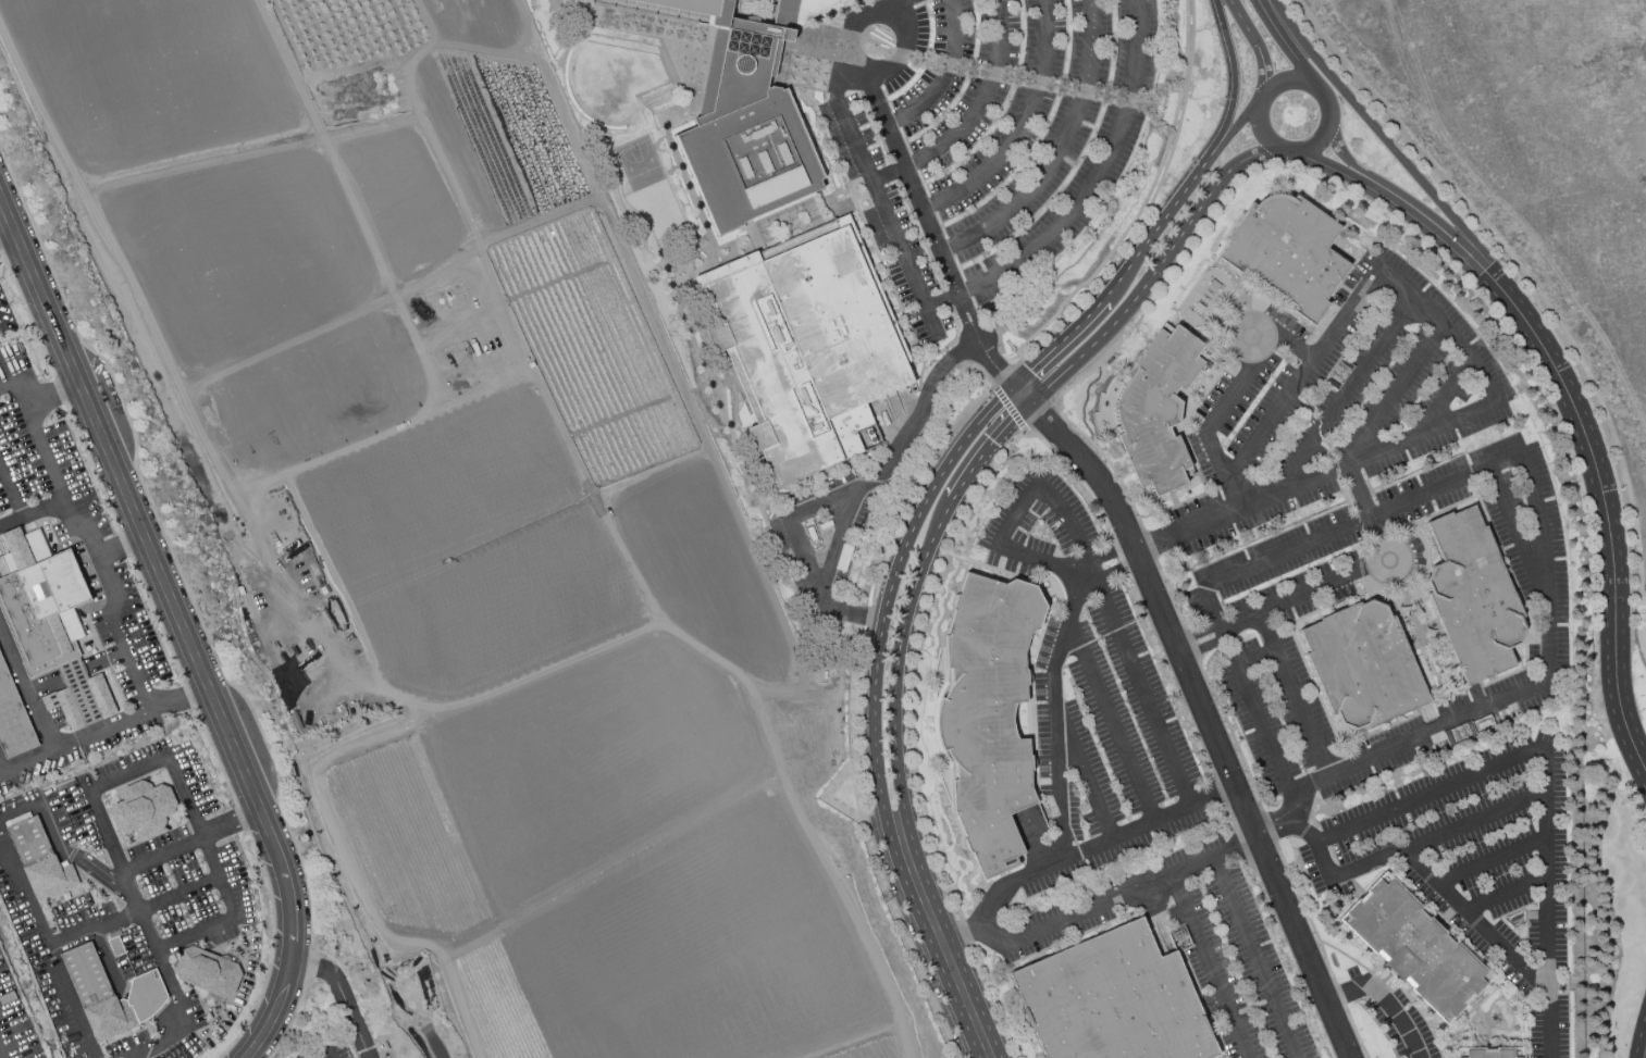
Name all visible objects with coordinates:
road: (1288, 43)
road: (1257, 45)
road: (903, 49)
street lamp: (1248, 49)
road: (901, 54)
road: (926, 61)
street lamp: (1288, 62)
road: (949, 65)
road: (970, 70)
road: (944, 74)
road: (992, 74)
road: (1016, 78)
road: (1038, 83)
road: (1235, 84)
road: (1059, 87)
road: (1316, 89)
street lamp: (1251, 90)
road: (1080, 91)
road: (1105, 96)
road: (1125, 99)
road: (982, 100)
road: (1133, 100)
road: (1154, 103)
road: (1164, 107)
building: (747, 116)
road: (1019, 125)
street lamp: (1247, 128)
road: (1232, 129)
crop: (497, 133)
road: (1339, 149)
road: (900, 150)
road: (1393, 150)
road: (1059, 151)
street lamp: (1324, 153)
park: (640, 165)
road: (1335, 165)
road: (1097, 176)
road: (1146, 199)
road: (880, 200)
road: (1149, 206)
crop: (275, 231)
road: (7, 235)
building: (1286, 251)
road: (1519, 267)
road: (1513, 271)
road: (942, 300)
road: (957, 306)
road: (1445, 323)
road: (960, 328)
crop: (594, 346)
building: (807, 347)
road: (955, 356)
road: (980, 370)
road: (1555, 370)
crop: (342, 373)
road: (1303, 373)
road: (1003, 376)
road: (20, 379)
road: (1036, 384)
road: (1342, 389)
road: (1391, 390)
road: (53, 394)
road: (1224, 398)
road: (1085, 401)
road: (1010, 410)
building: (1158, 411)
road: (1042, 419)
road: (1075, 428)
road: (890, 465)
road: (974, 465)
road: (1314, 477)
road: (916, 486)
road: (936, 487)
road: (1358, 490)
road: (1018, 515)
road: (1508, 516)
road: (22, 519)
road: (1361, 520)
road: (791, 521)
road: (11, 524)
road: (1150, 545)
road: (116, 547)
road: (169, 548)
road: (146, 549)
crop: (465, 551)
road: (91, 555)
road: (1543, 555)
road: (1043, 560)
road: (981, 565)
crop: (696, 568)
road: (1324, 582)
road: (1629, 589)
road: (930, 593)
road: (1169, 594)
road: (1641, 594)
building: (1473, 596)
building: (39, 599)
road: (1211, 609)
road: (869, 617)
road: (1634, 631)
road: (1196, 634)
road: (1122, 640)
road: (1192, 646)
road: (1203, 648)
road: (106, 657)
road: (1254, 657)
building: (1362, 665)
road: (70, 671)
road: (44, 683)
road: (27, 686)
road: (1630, 686)
building: (78, 689)
road: (1295, 694)
building: (100, 695)
road: (180, 698)
road: (79, 699)
building: (64, 707)
road: (1054, 708)
road: (1201, 710)
road: (1613, 713)
building: (989, 715)
building: (13, 719)
road: (124, 721)
road: (1112, 721)
road: (92, 730)
road: (1418, 735)
road: (1265, 736)
road: (1235, 737)
road: (75, 742)
road: (28, 762)
road: (2, 769)
road: (1085, 775)
crop: (534, 788)
road: (1430, 794)
road: (826, 796)
building: (141, 808)
road: (1272, 824)
road: (1268, 827)
road: (1438, 835)
road: (191, 841)
road: (1316, 844)
road: (60, 845)
road: (1093, 845)
road: (870, 848)
road: (119, 858)
road: (1492, 859)
building: (40, 860)
road: (178, 895)
road: (1507, 895)
road: (1116, 899)
road: (1547, 901)
road: (1307, 912)
road: (231, 918)
road: (1474, 920)
road: (290, 931)
road: (967, 932)
road: (96, 933)
road: (957, 937)
road: (48, 945)
building: (1414, 947)
crop: (681, 955)
road: (1252, 958)
road: (311, 967)
road: (1209, 967)
building: (207, 971)
road: (953, 975)
building: (109, 994)
road: (341, 994)
road: (1338, 994)
road: (997, 999)
building: (1114, 1000)
road: (1381, 1000)
road: (272, 1013)
road: (290, 1021)
parking lot: (337, 1021)
road: (1356, 1032)
road: (1641, 1038)
road: (324, 1048)
crop: (872, 1049)
road: (2, 1051)
building: (1489, 1053)

